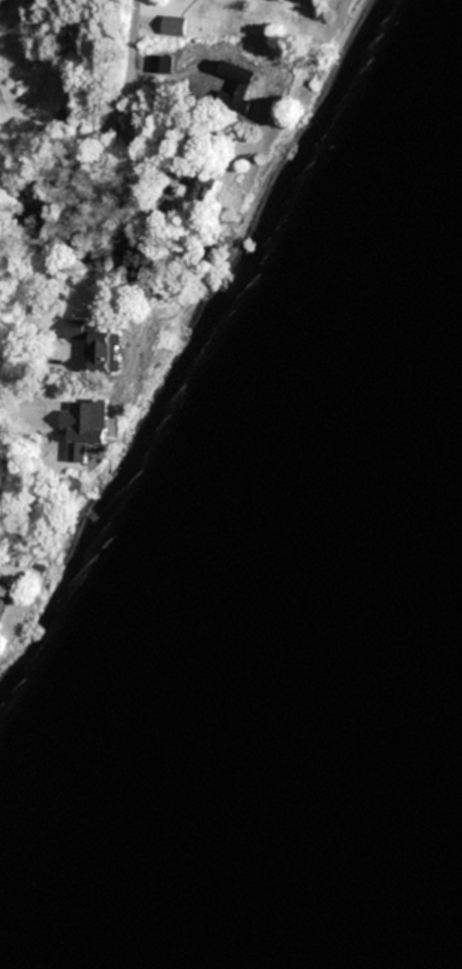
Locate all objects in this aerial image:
building: (280, 1)
road: (86, 184)
building: (210, 193)
building: (98, 344)
building: (3, 603)

